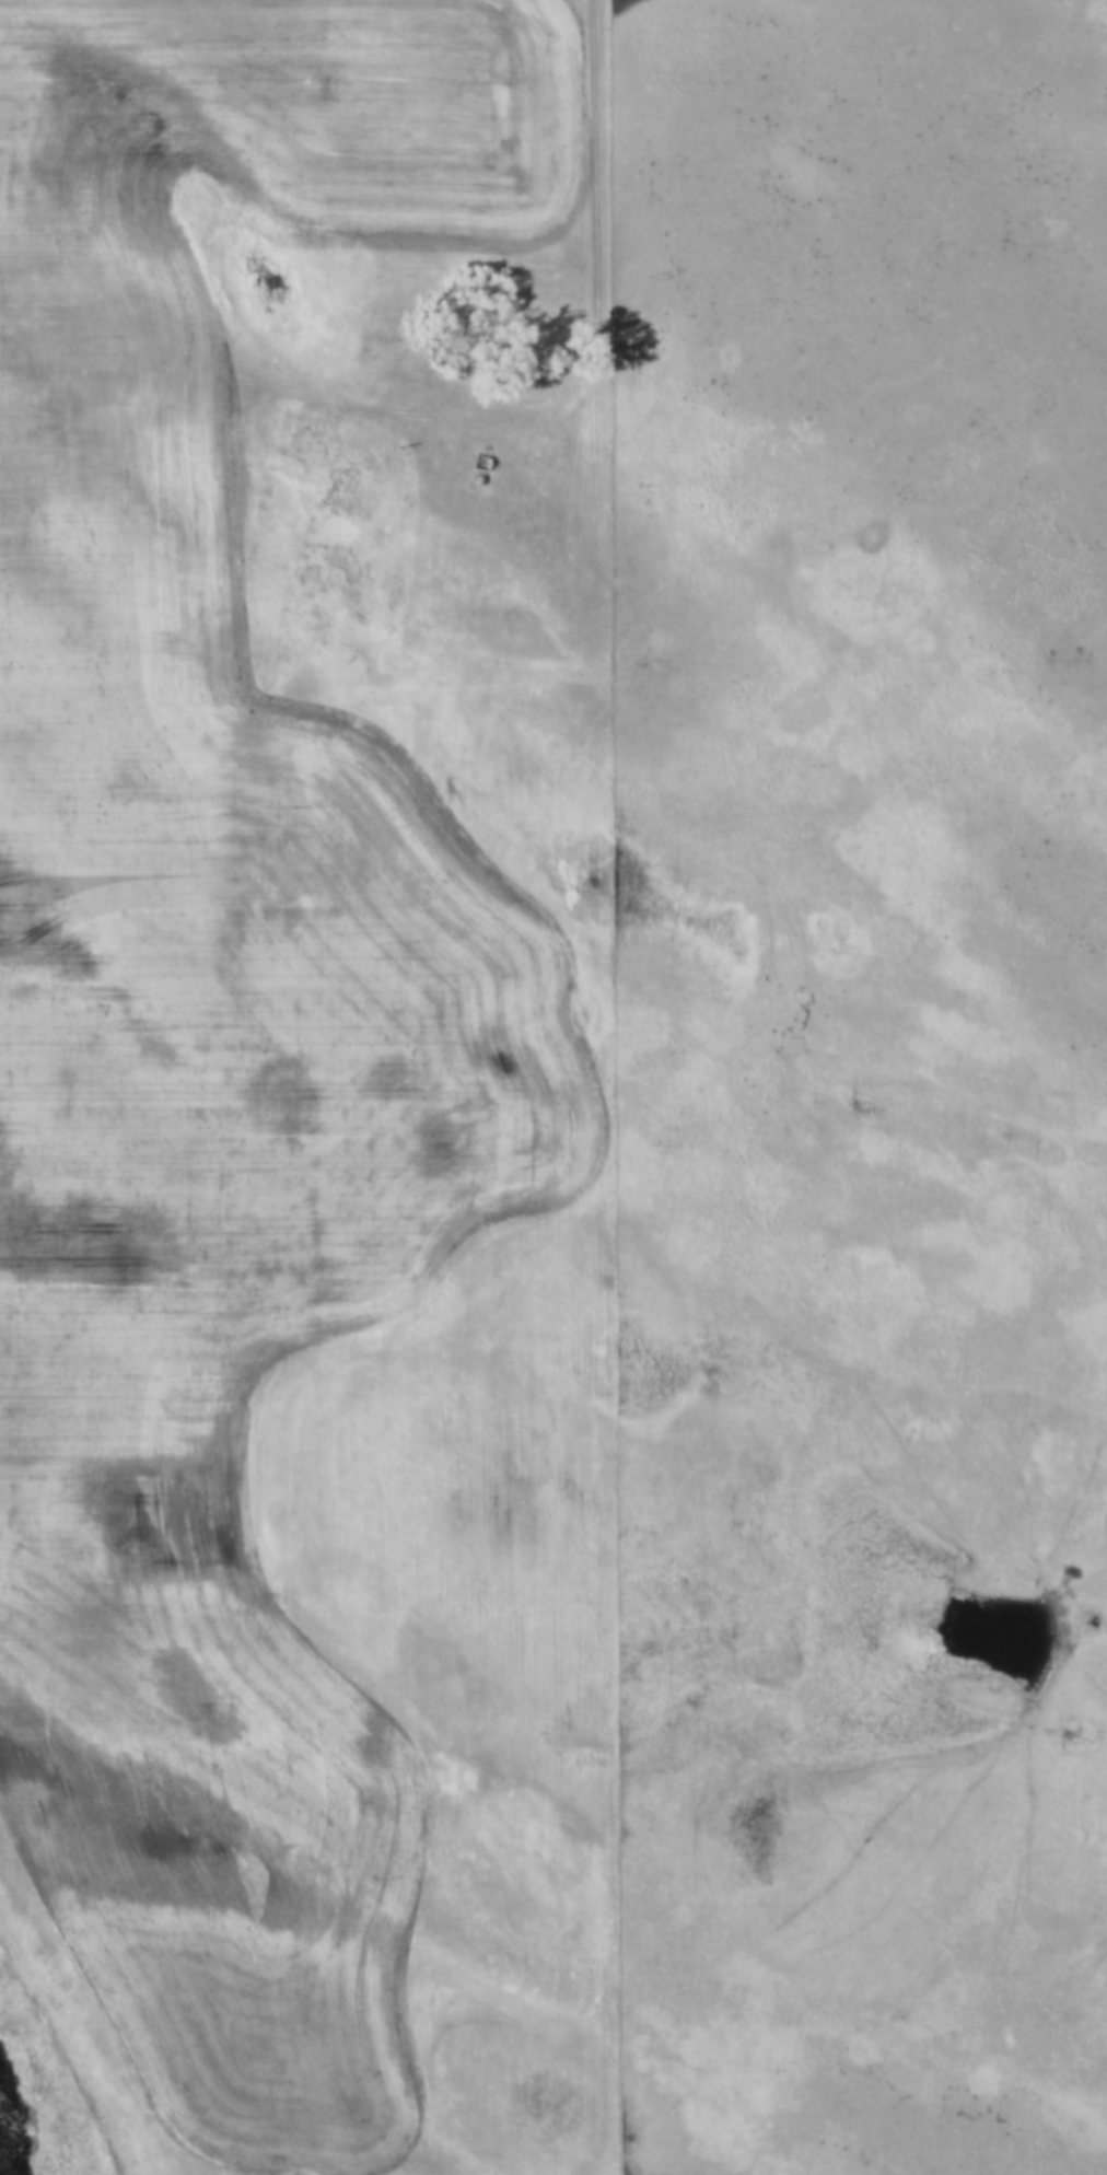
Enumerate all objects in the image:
road: (603, 189)
building: (478, 463)

